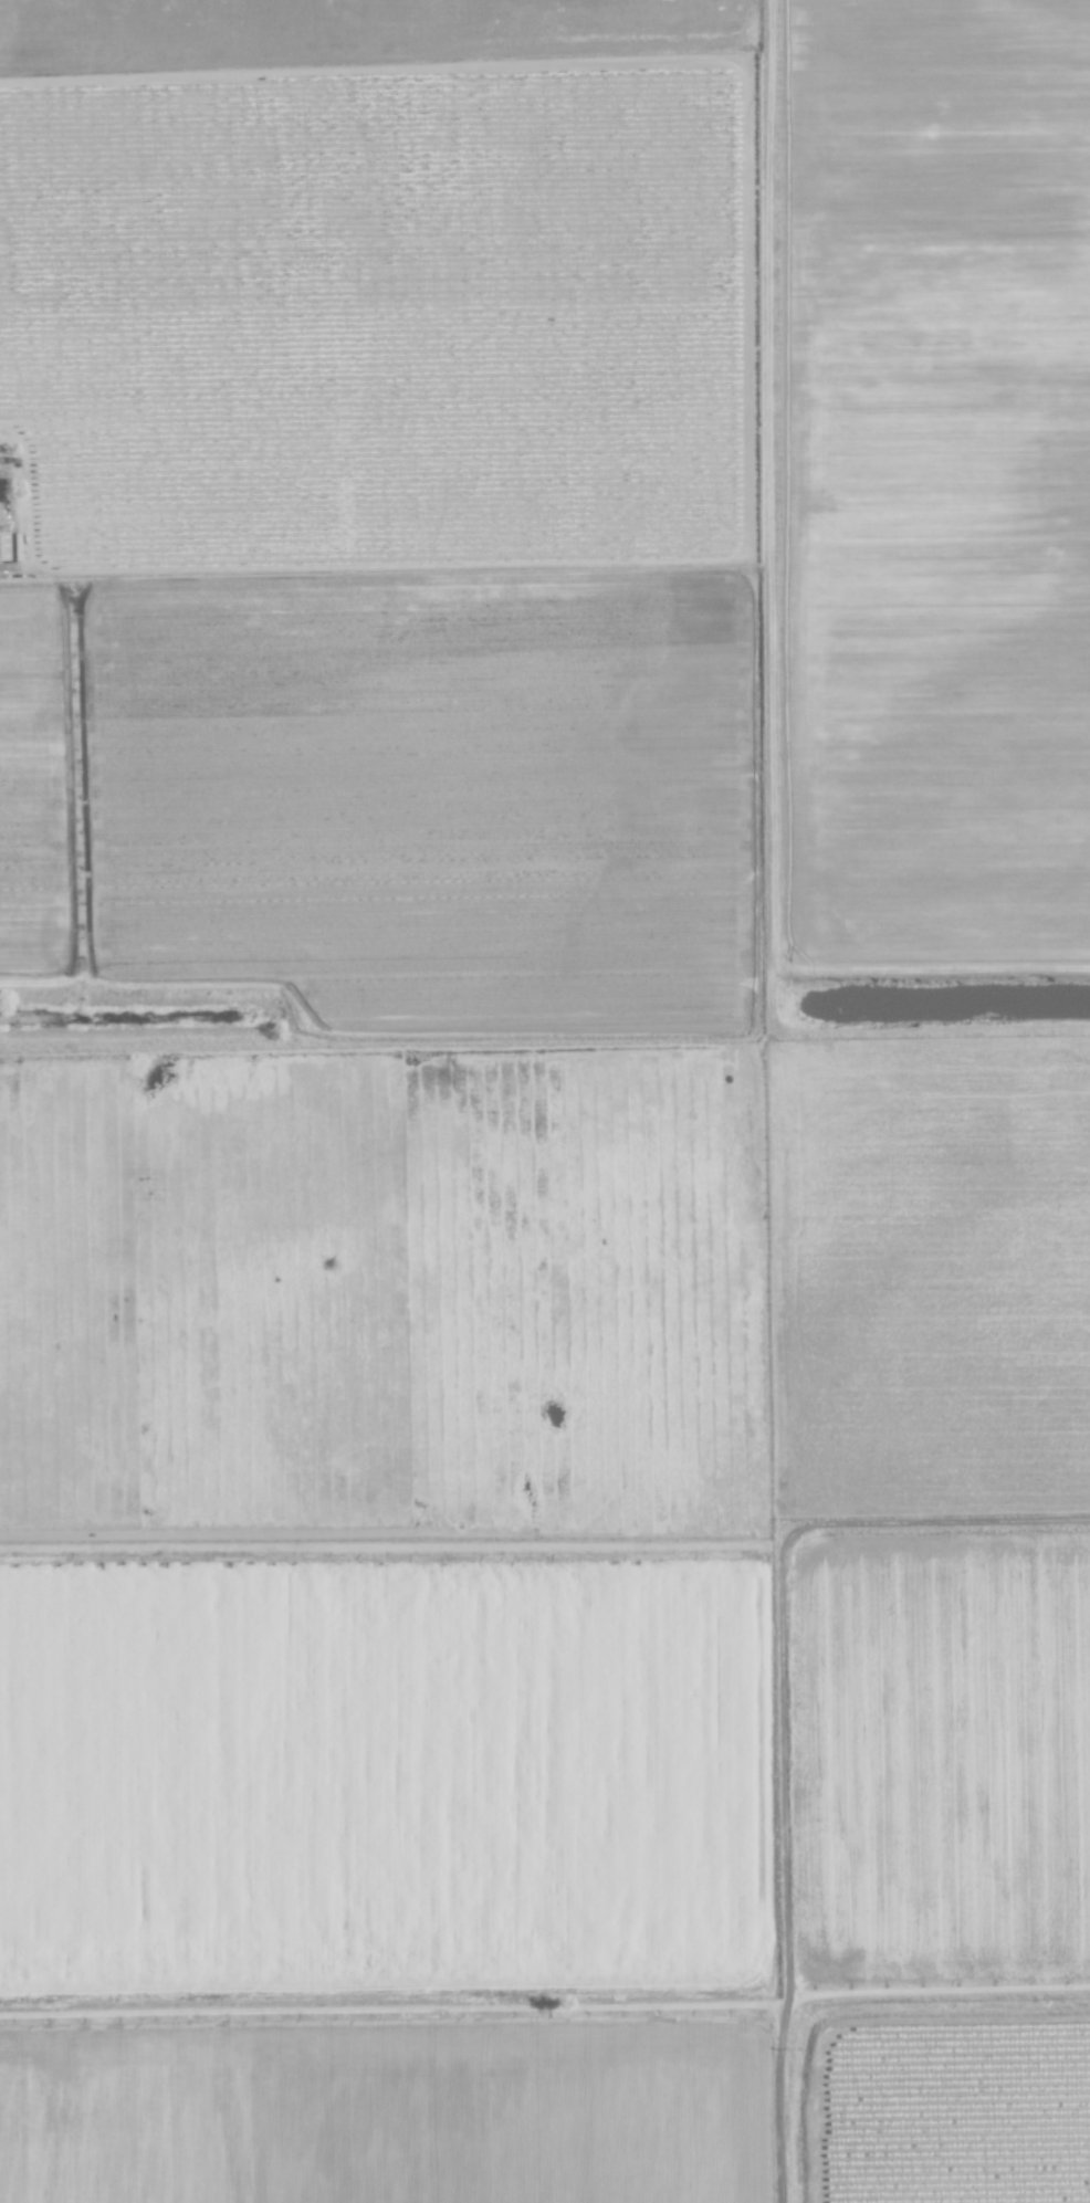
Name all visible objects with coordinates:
building: (3, 546)

